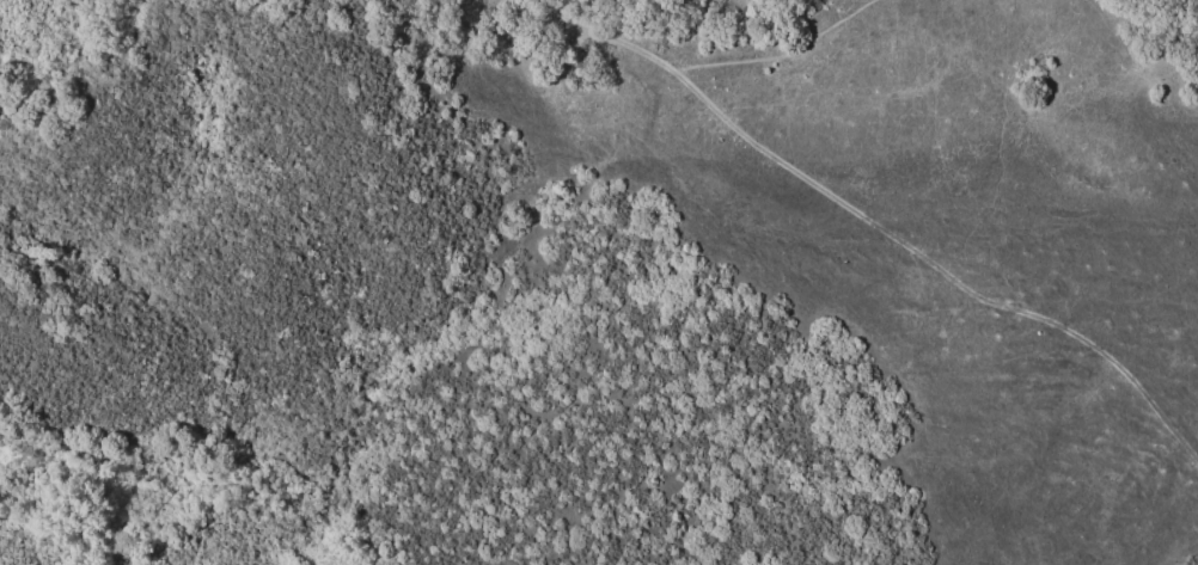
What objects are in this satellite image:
road: (619, 22)
road: (776, 53)
road: (869, 222)

